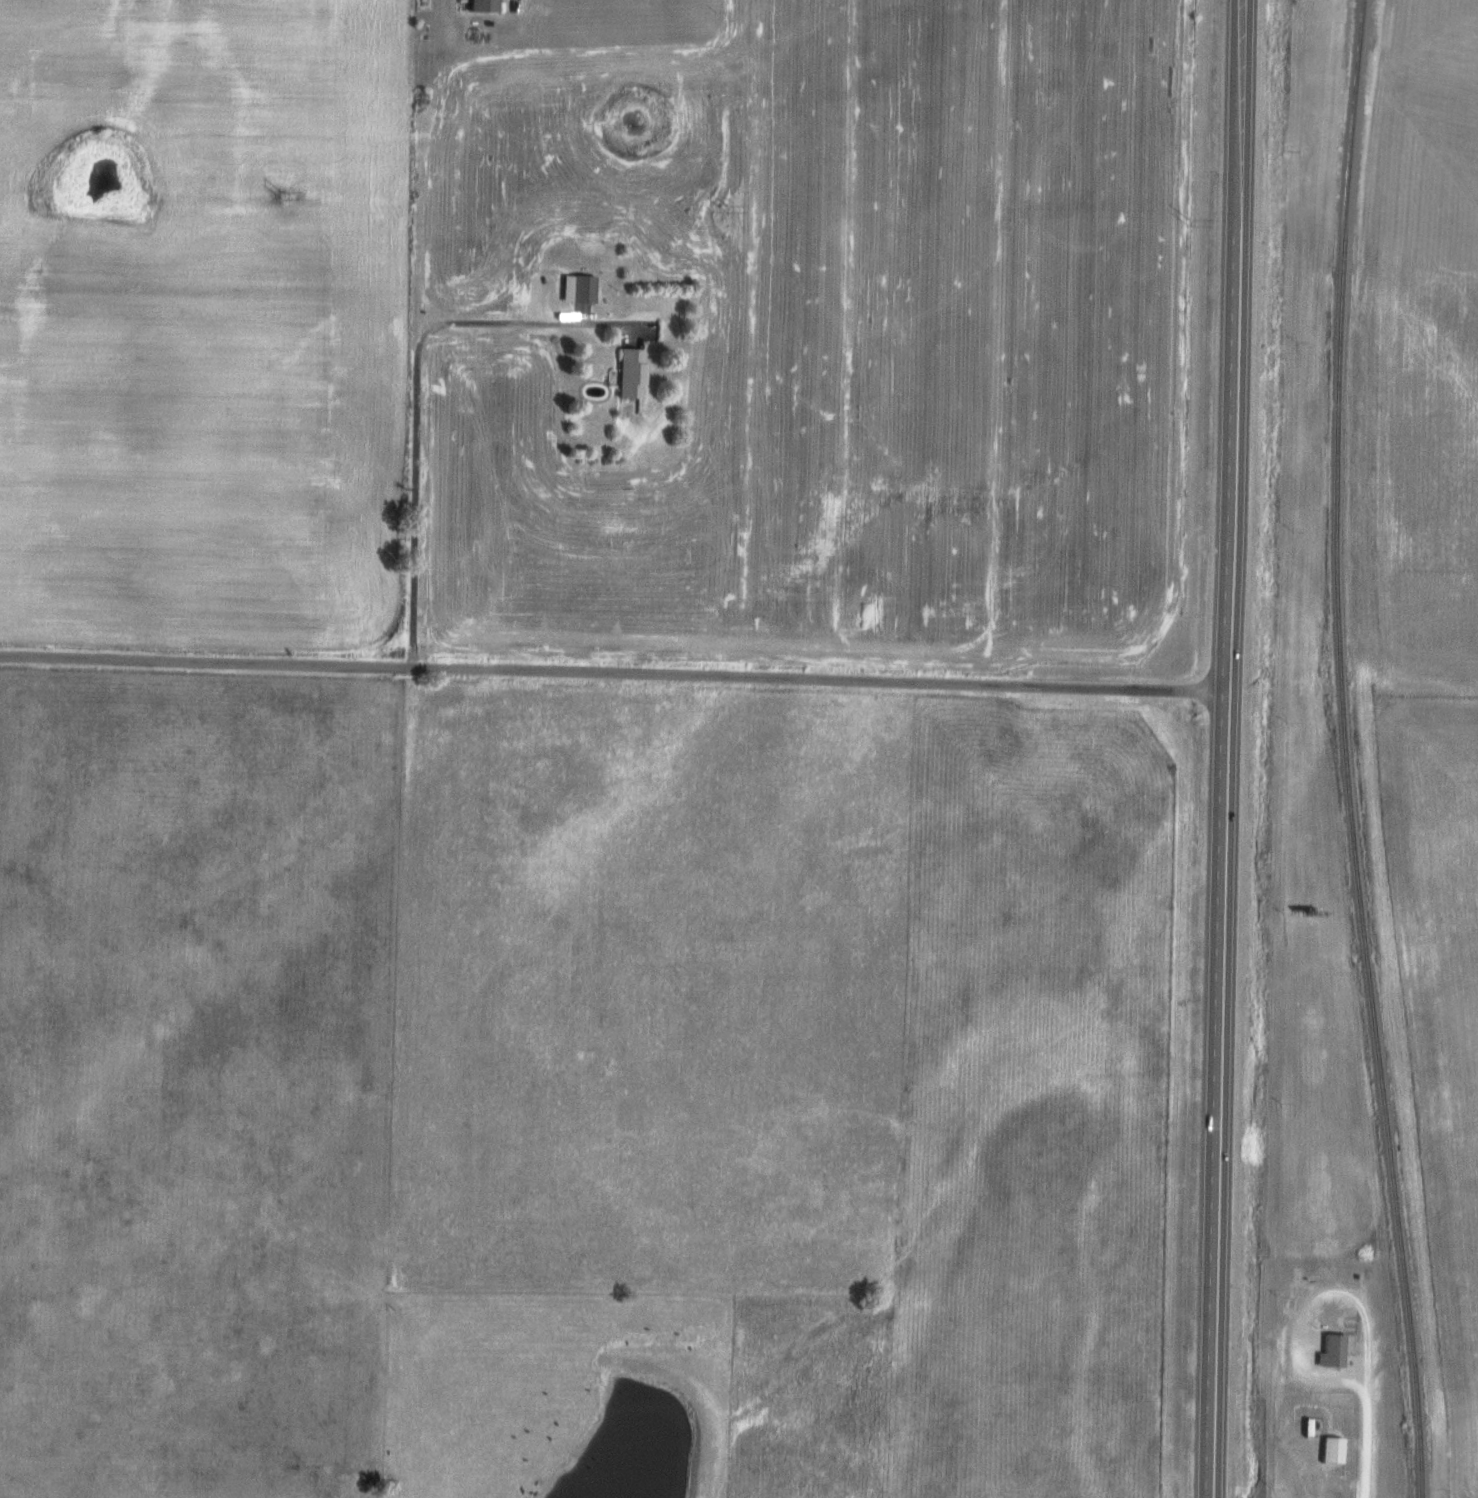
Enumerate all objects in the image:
building: (480, 5)
power tower: (276, 195)
power tower: (722, 209)
power tower: (1185, 222)
building: (576, 288)
building: (627, 373)
road: (411, 397)
road: (612, 673)
road: (1223, 749)
railway: (1342, 750)
building: (1330, 1350)
road: (1293, 1370)
road: (1357, 1441)
building: (1330, 1449)

